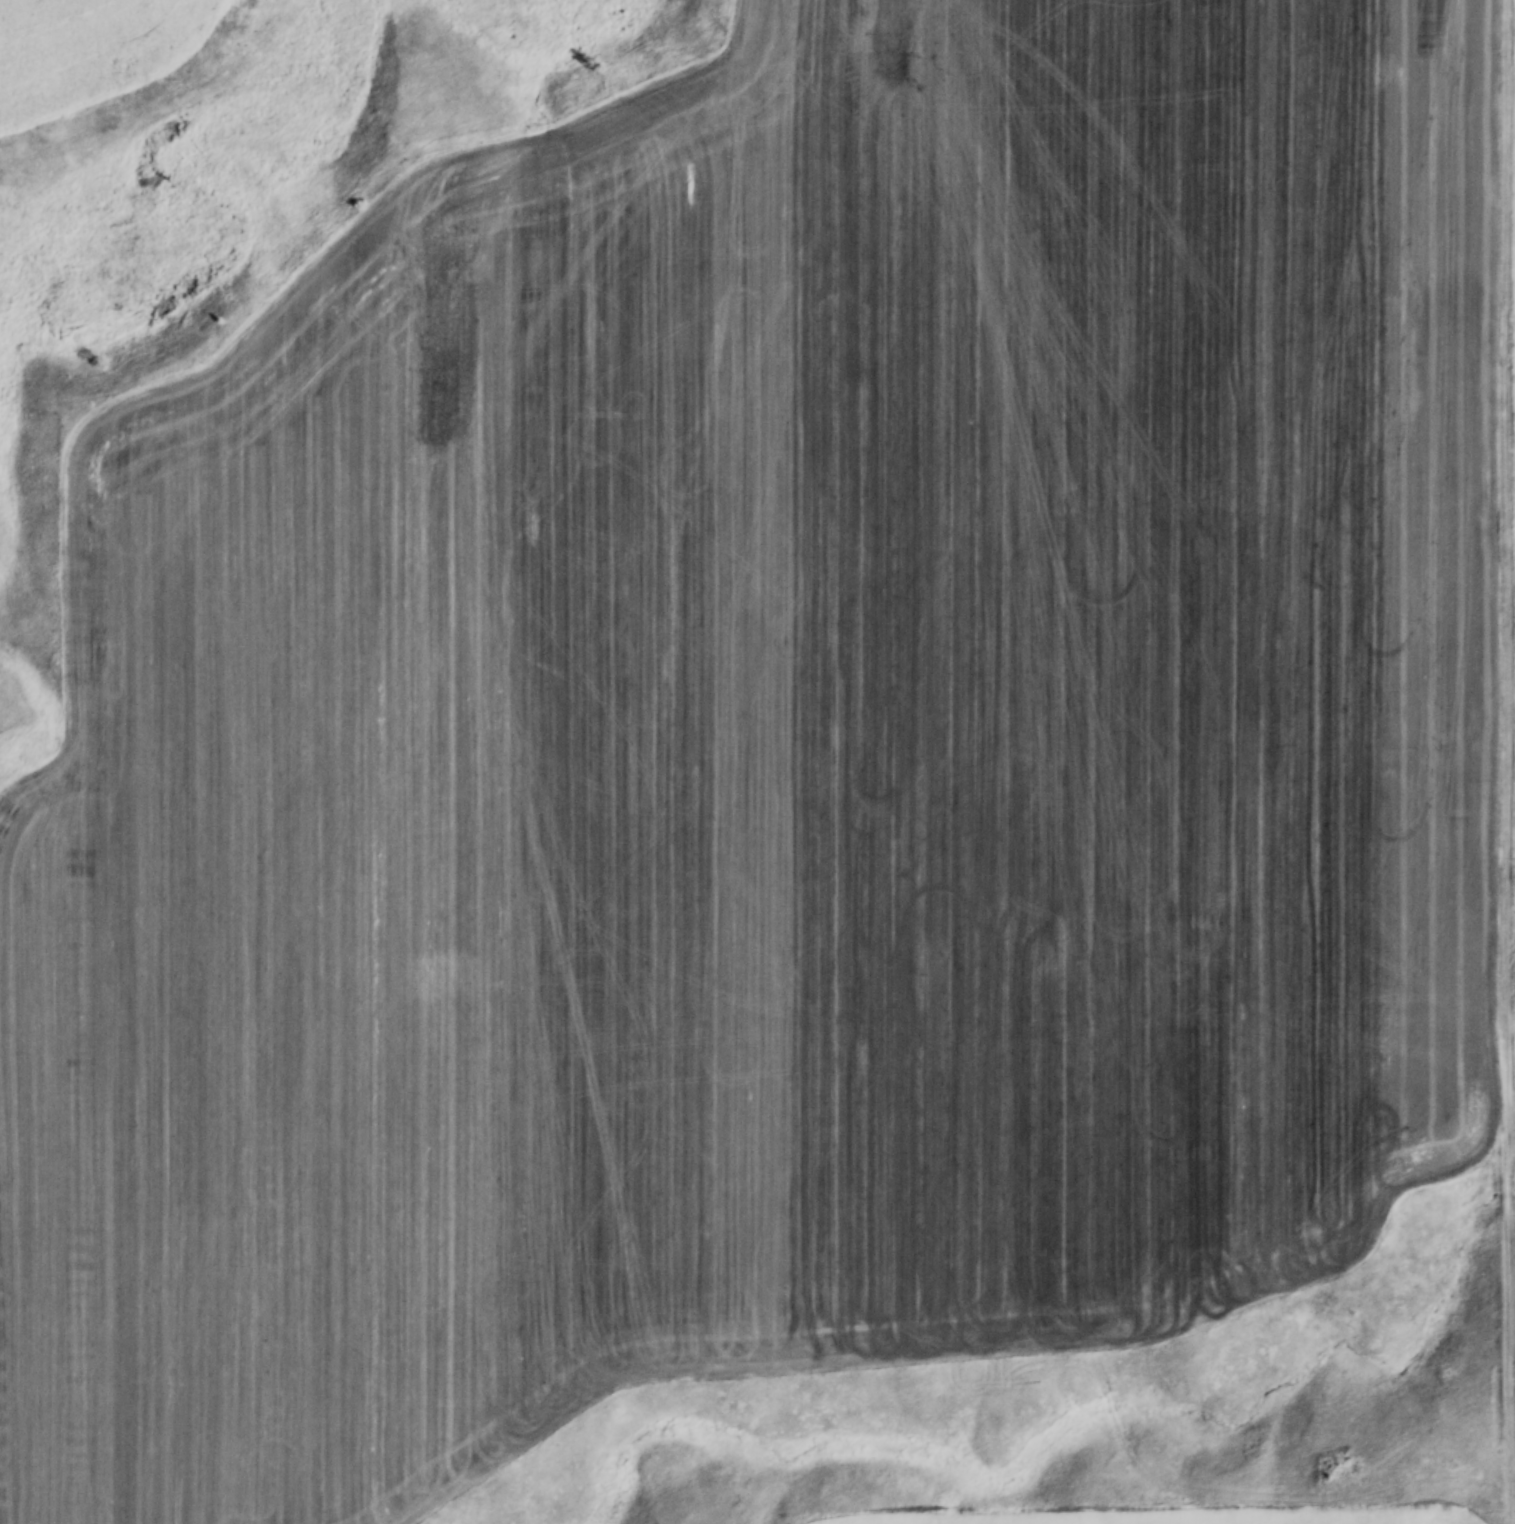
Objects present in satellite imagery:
building: (1505, 574)
road: (1501, 762)

